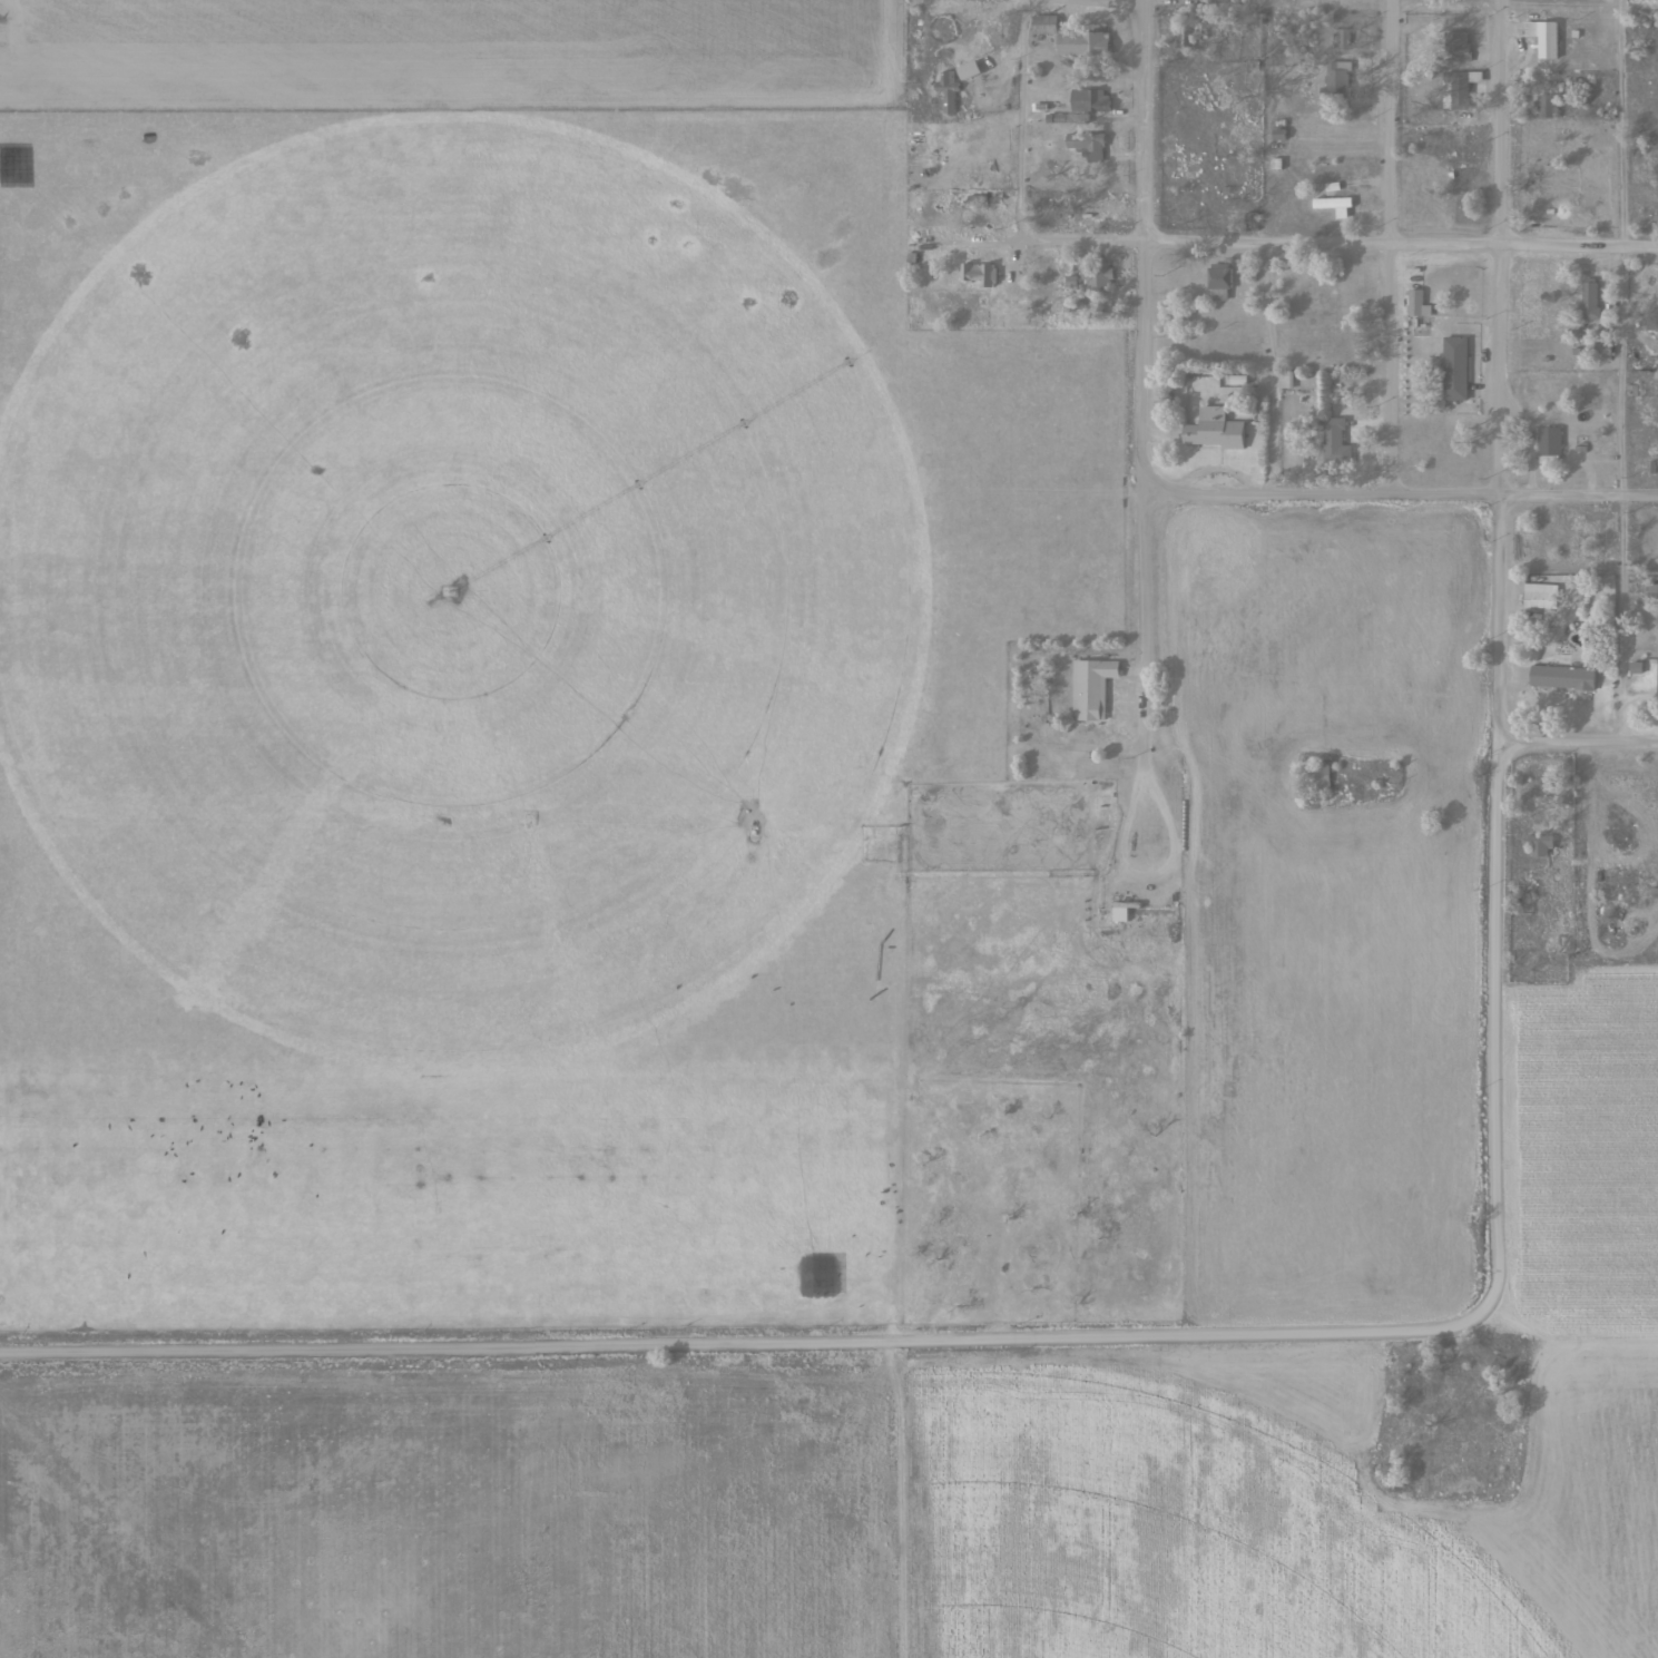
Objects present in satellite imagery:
building: (1041, 26)
building: (1541, 38)
building: (1185, 40)
building: (1338, 40)
building: (1080, 46)
building: (1455, 48)
building: (1335, 80)
building: (1458, 90)
building: (945, 94)
building: (1088, 101)
building: (1544, 107)
building: (1275, 136)
building: (1088, 149)
building: (1551, 199)
building: (1332, 206)
road: (1399, 242)
road: (1385, 247)
building: (977, 276)
building: (1097, 279)
building: (1217, 283)
building: (1587, 300)
building: (1415, 305)
building: (1451, 370)
road: (1495, 373)
road: (1137, 380)
building: (1210, 431)
building: (1333, 443)
building: (1546, 445)
road: (1396, 494)
building: (1642, 543)
building: (1649, 592)
building: (1534, 600)
building: (1559, 678)
building: (1088, 689)
road: (1578, 746)
building: (1317, 777)
building: (1539, 845)
building: (1117, 914)
road: (1048, 1344)

